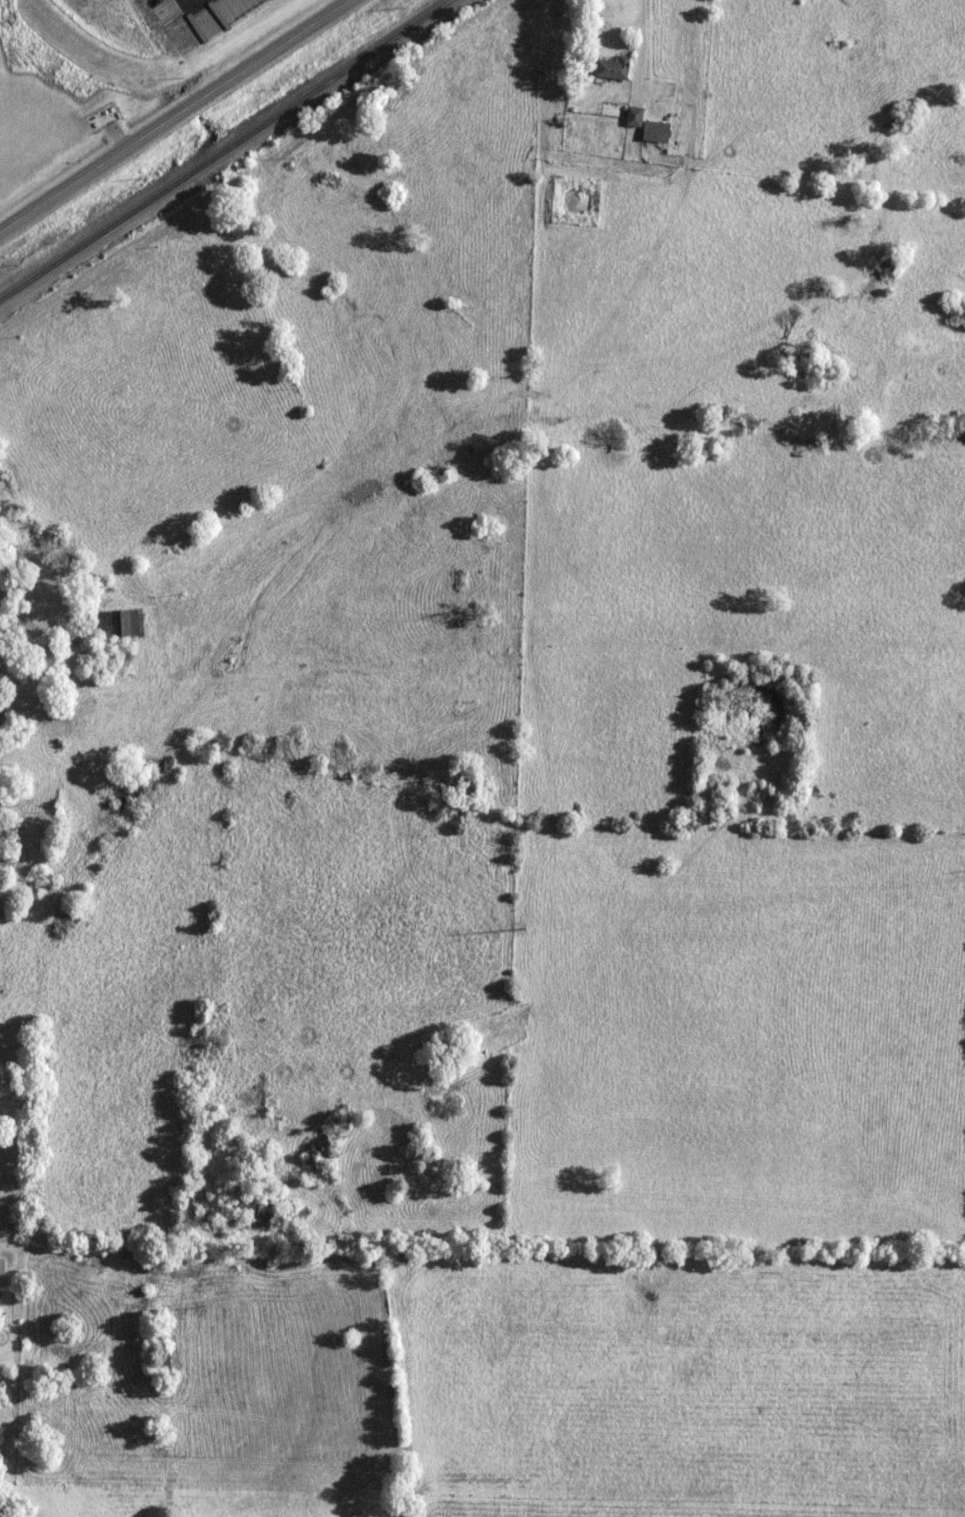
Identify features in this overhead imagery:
road: (652, 42)
building: (622, 65)
building: (644, 113)
building: (635, 117)
road: (183, 122)
building: (667, 128)
railway: (225, 150)
building: (44, 612)
building: (128, 622)
building: (93, 1266)
building: (135, 1305)
building: (166, 1362)

